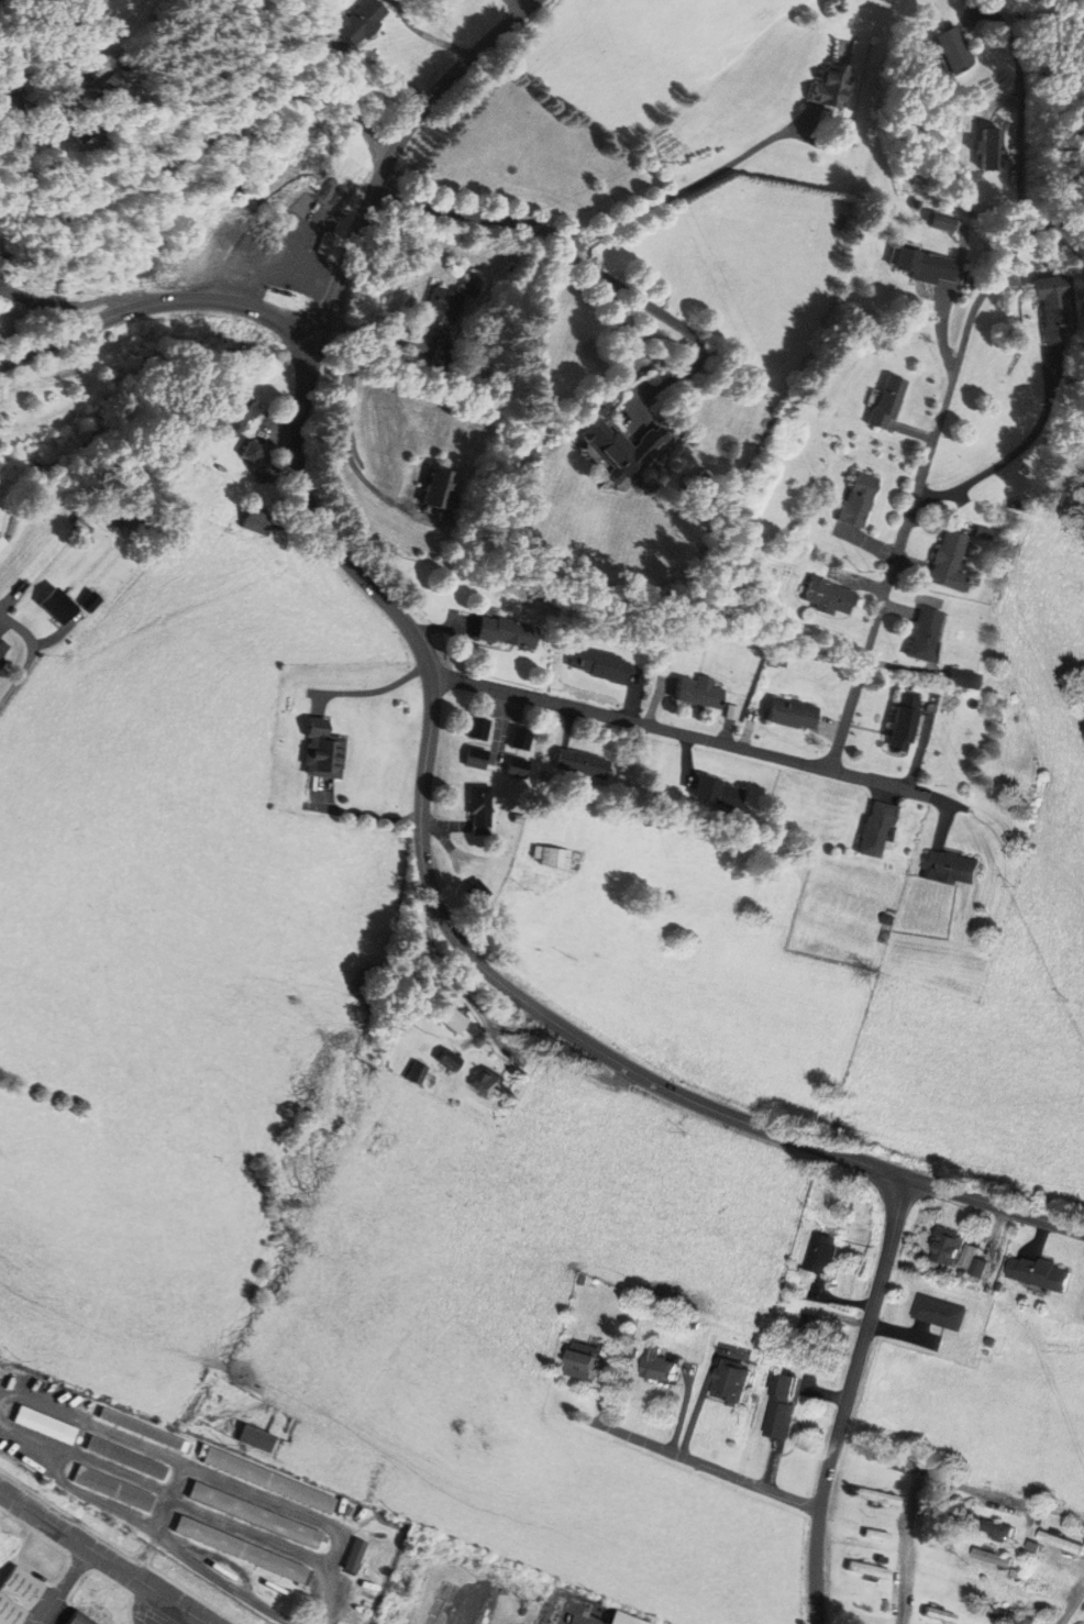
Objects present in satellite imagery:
building: (362, 21)
building: (951, 51)
building: (11, 82)
building: (833, 86)
road: (390, 156)
road: (1022, 163)
road: (123, 188)
road: (681, 189)
road: (493, 216)
building: (936, 224)
power substation: (1, 256)
building: (918, 265)
road: (154, 305)
building: (1052, 309)
building: (441, 312)
building: (442, 360)
building: (881, 404)
building: (241, 411)
road: (346, 420)
building: (624, 449)
building: (254, 452)
road: (980, 484)
building: (440, 488)
building: (861, 500)
road: (915, 500)
building: (258, 521)
building: (1, 543)
building: (954, 562)
building: (837, 597)
building: (57, 607)
road: (23, 632)
building: (504, 633)
building: (932, 634)
building: (2, 650)
building: (781, 659)
building: (596, 666)
building: (970, 680)
road: (15, 683)
building: (699, 694)
building: (796, 715)
building: (909, 723)
road: (500, 727)
building: (473, 730)
road: (682, 732)
building: (516, 740)
building: (327, 751)
building: (472, 759)
building: (579, 764)
building: (512, 769)
building: (718, 793)
building: (475, 810)
building: (880, 830)
building: (547, 857)
building: (956, 869)
road: (475, 960)
building: (458, 1021)
building: (452, 1064)
building: (419, 1074)
building: (491, 1084)
building: (377, 1141)
building: (959, 1250)
building: (826, 1255)
building: (1044, 1274)
building: (943, 1314)
building: (817, 1341)
building: (583, 1360)
building: (667, 1368)
building: (737, 1383)
road: (610, 1391)
road: (848, 1397)
building: (787, 1407)
building: (145, 1432)
building: (257, 1439)
building: (126, 1459)
building: (893, 1459)
road: (701, 1463)
road: (934, 1479)
building: (268, 1481)
building: (113, 1490)
building: (254, 1516)
airport: (168, 1524)
building: (999, 1531)
building: (877, 1536)
building: (1062, 1543)
building: (240, 1551)
building: (353, 1557)
airport runway: (101, 1558)
building: (995, 1559)
building: (870, 1571)
building: (1033, 1582)
airport taxiway: (62, 1587)
building: (22, 1594)
road: (1070, 1608)
building: (940, 1616)
building: (1010, 1617)
airport hangar: (87, 1619)
building: (87, 1619)
building: (623, 1620)

